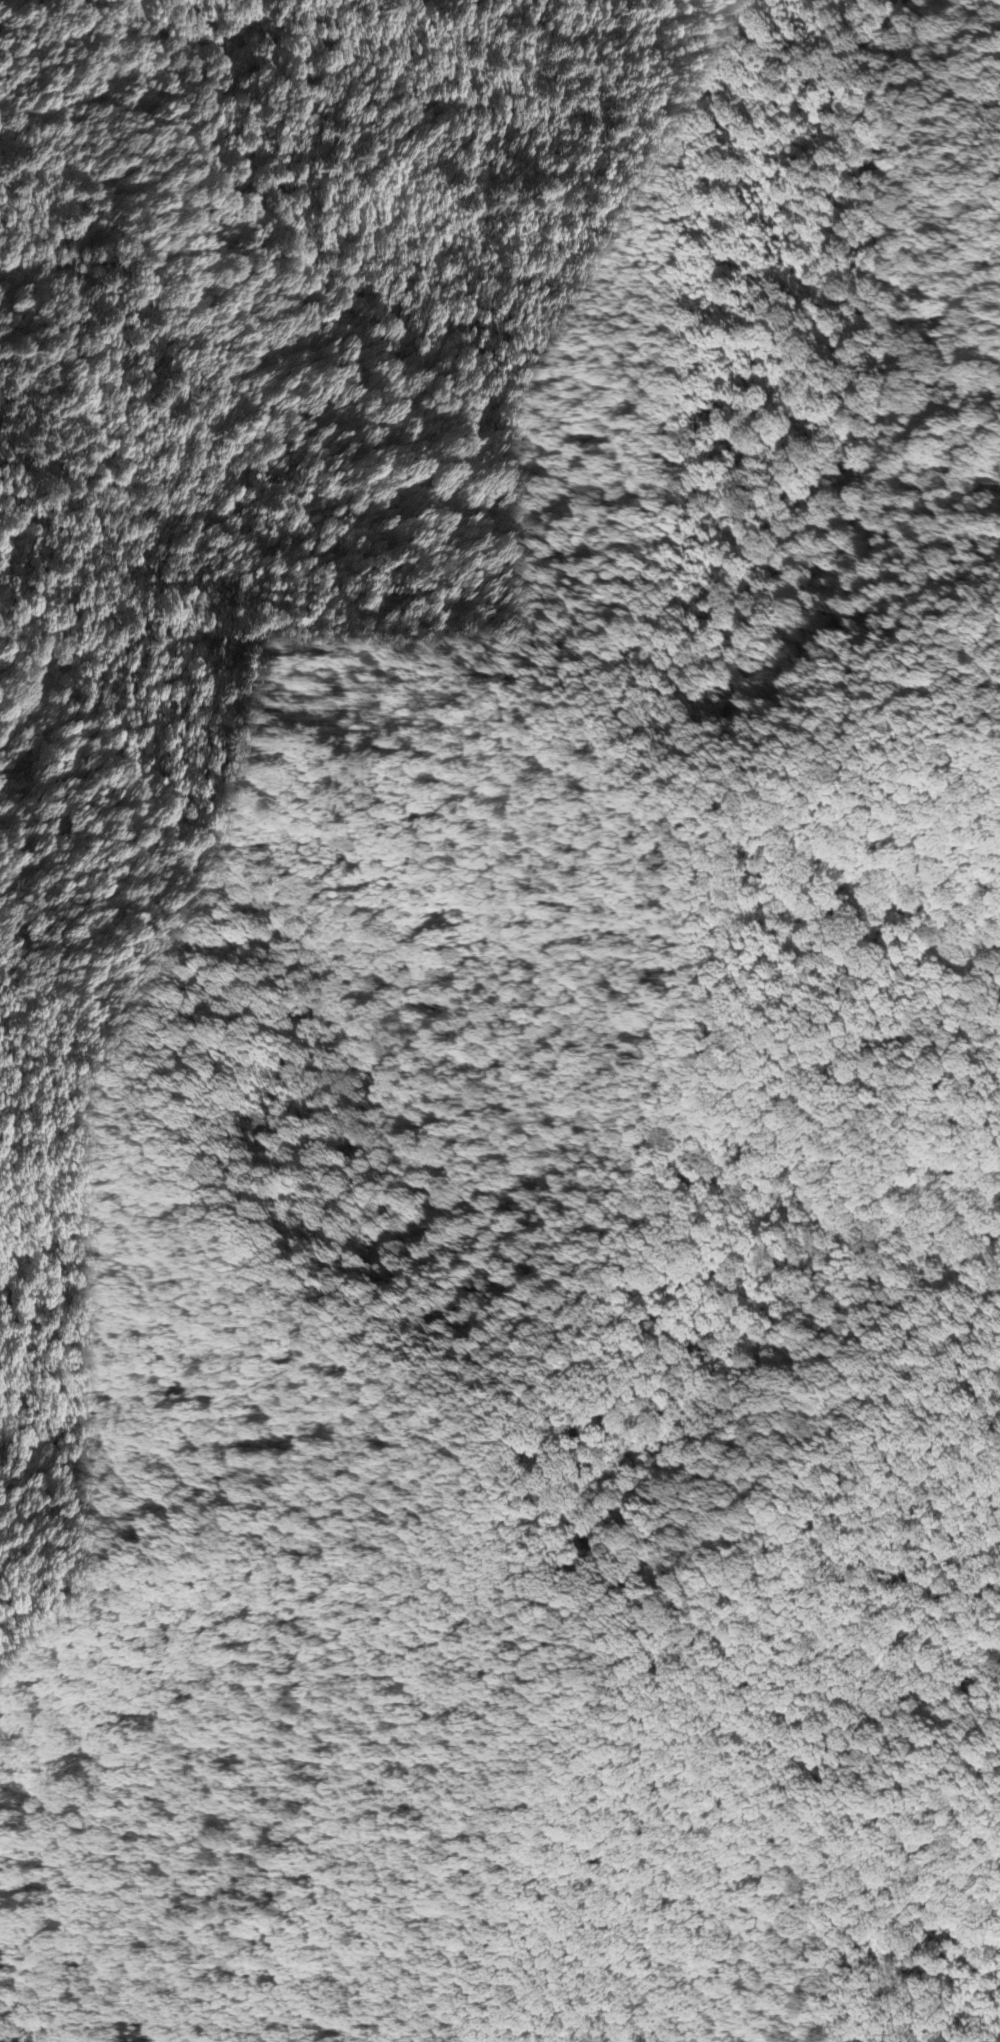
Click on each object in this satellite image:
road: (877, 169)
road: (900, 1945)

